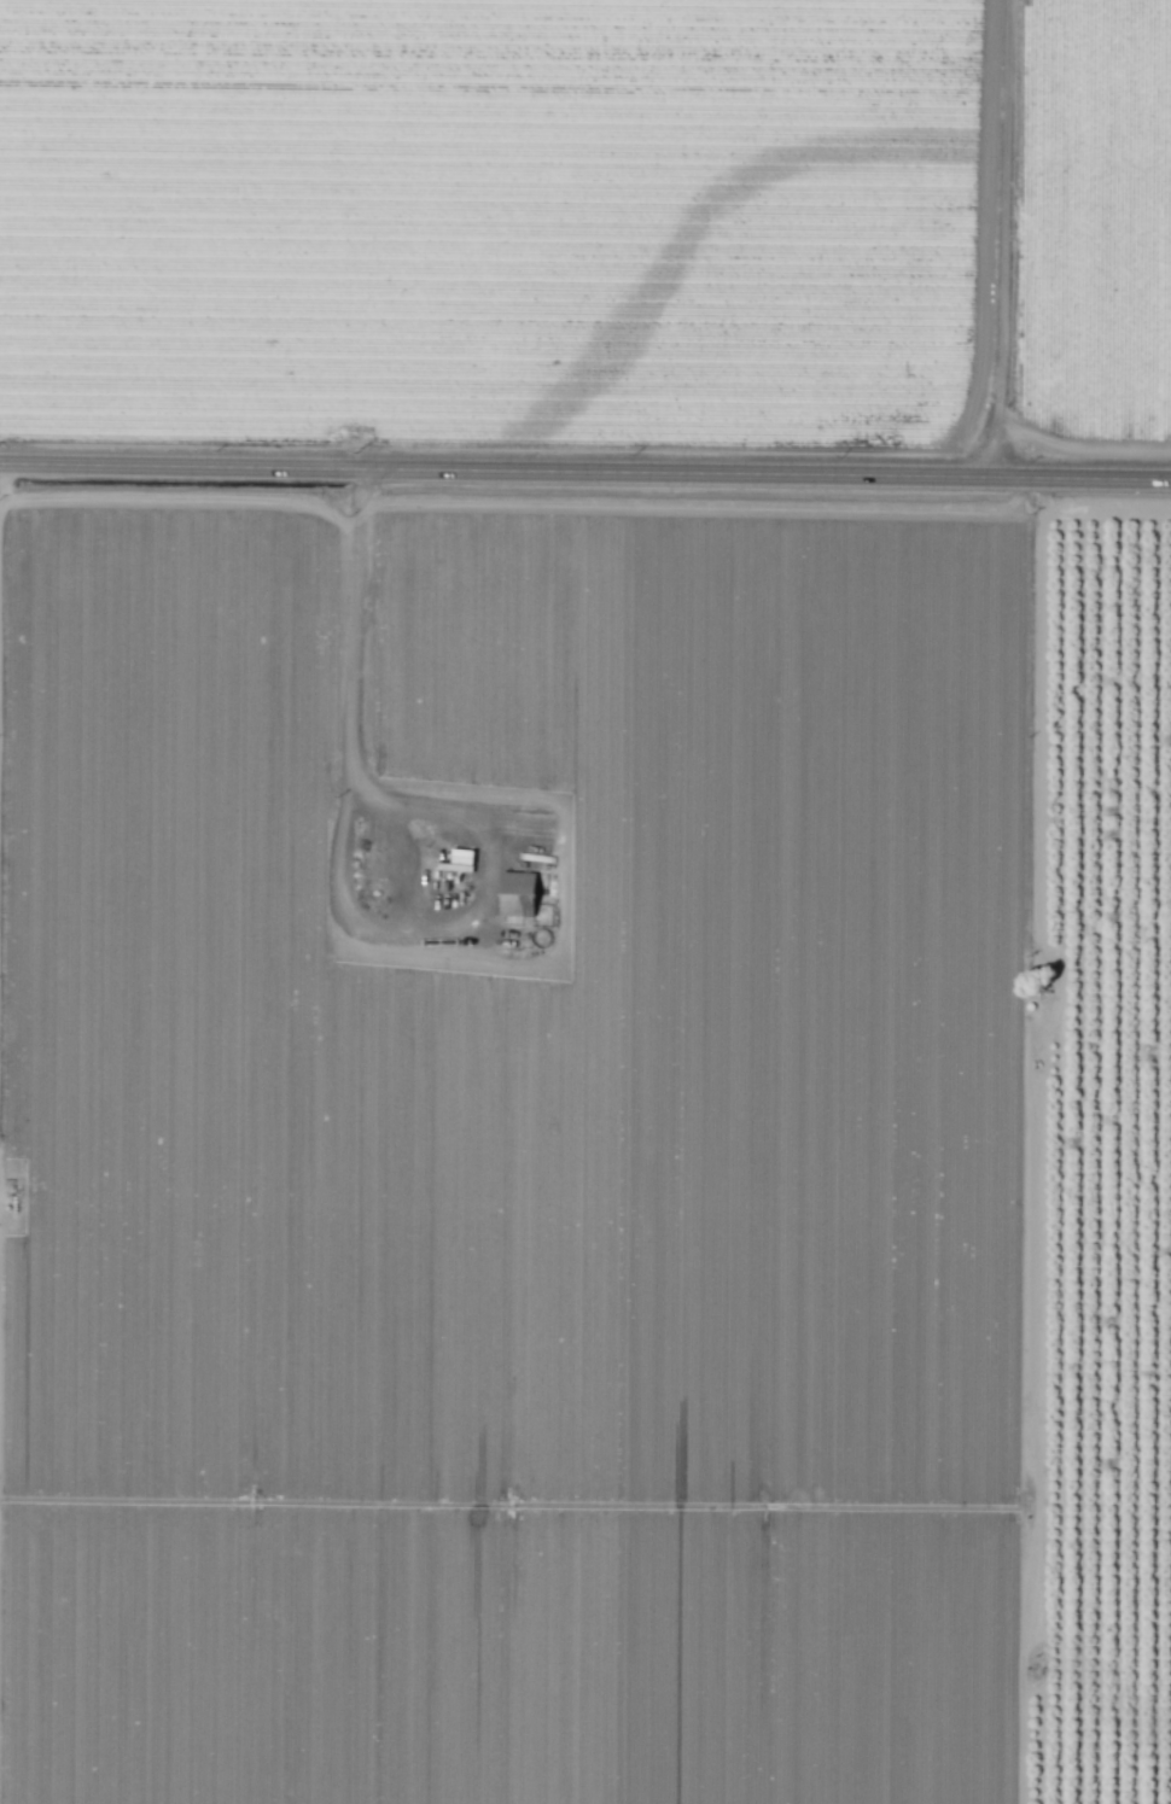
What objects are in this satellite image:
road: (585, 471)
road: (342, 869)

